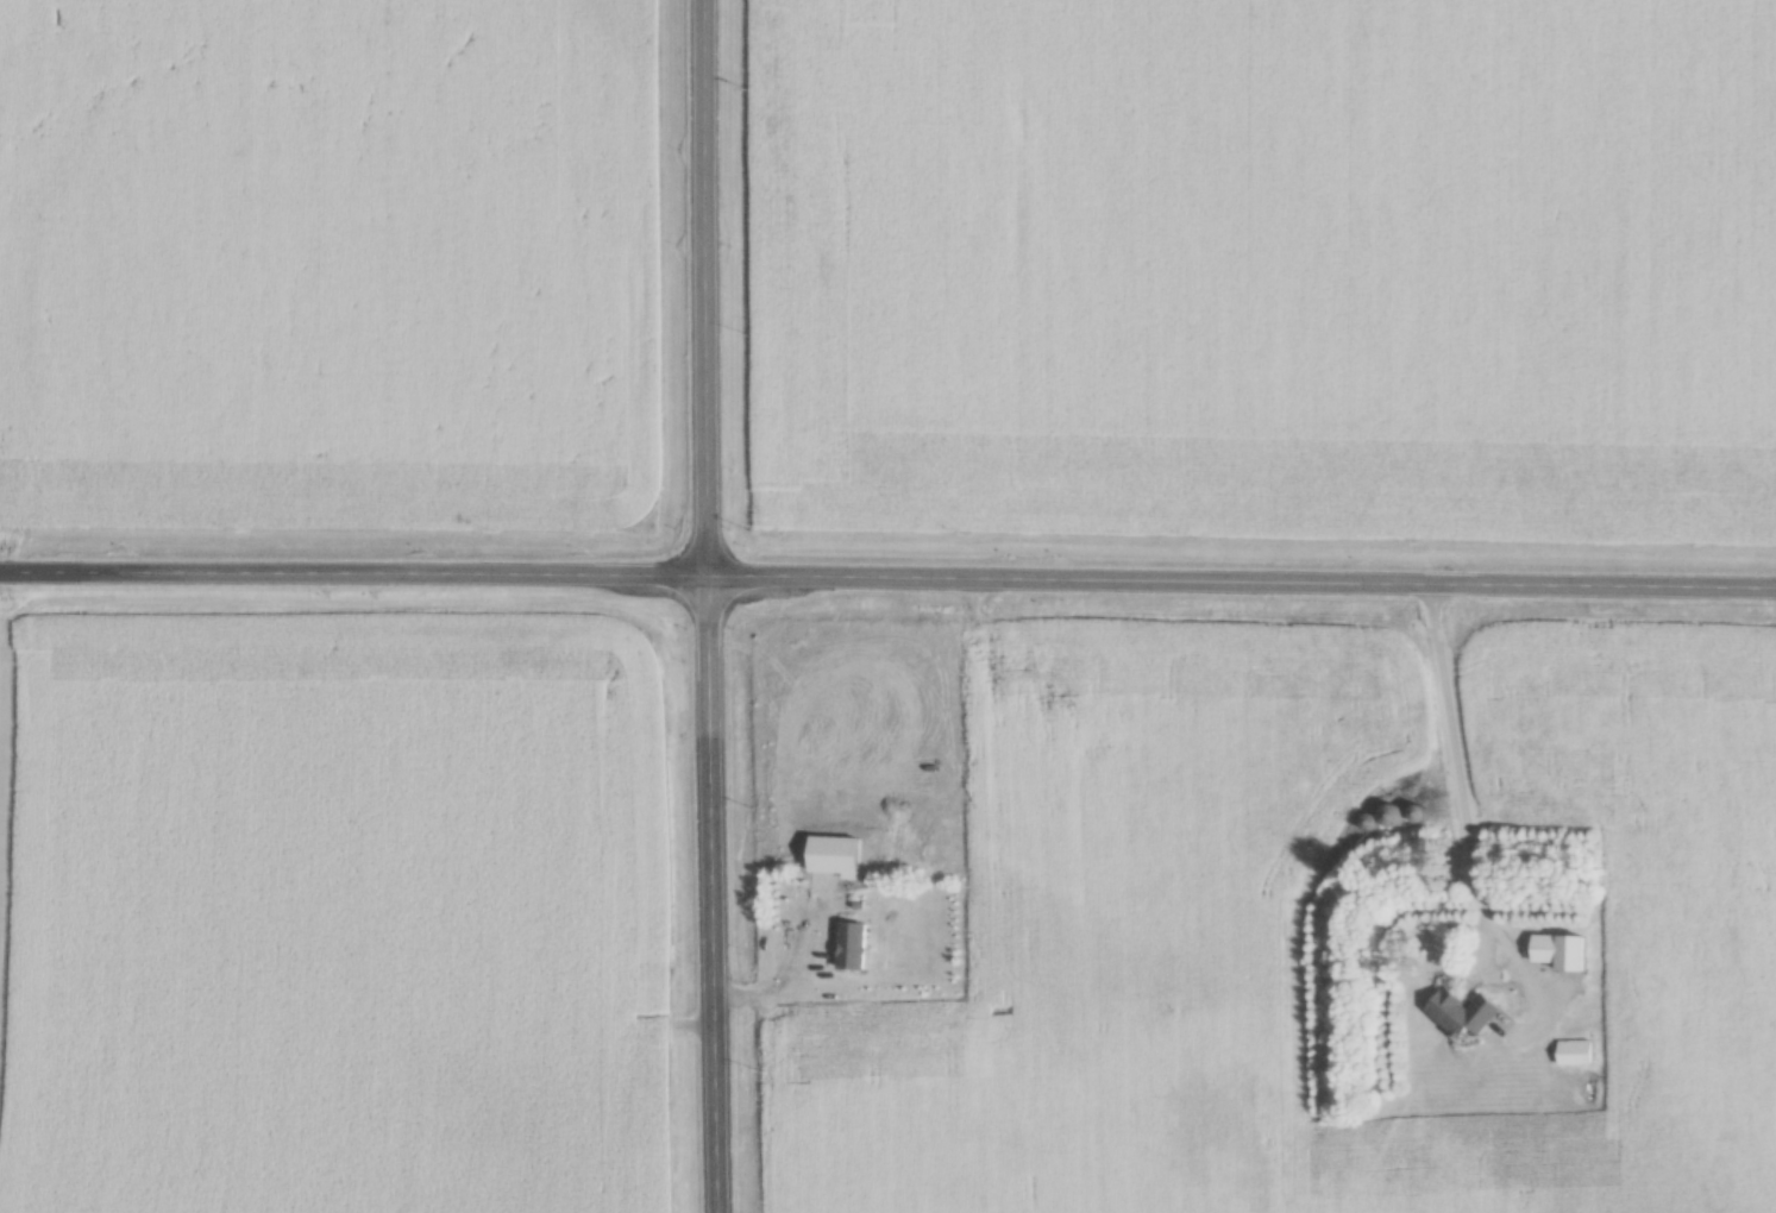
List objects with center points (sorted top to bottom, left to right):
road: (887, 572)
road: (702, 606)
road: (1466, 811)
building: (853, 947)
building: (1562, 955)
road: (784, 966)
building: (1464, 1013)
building: (1576, 1049)

